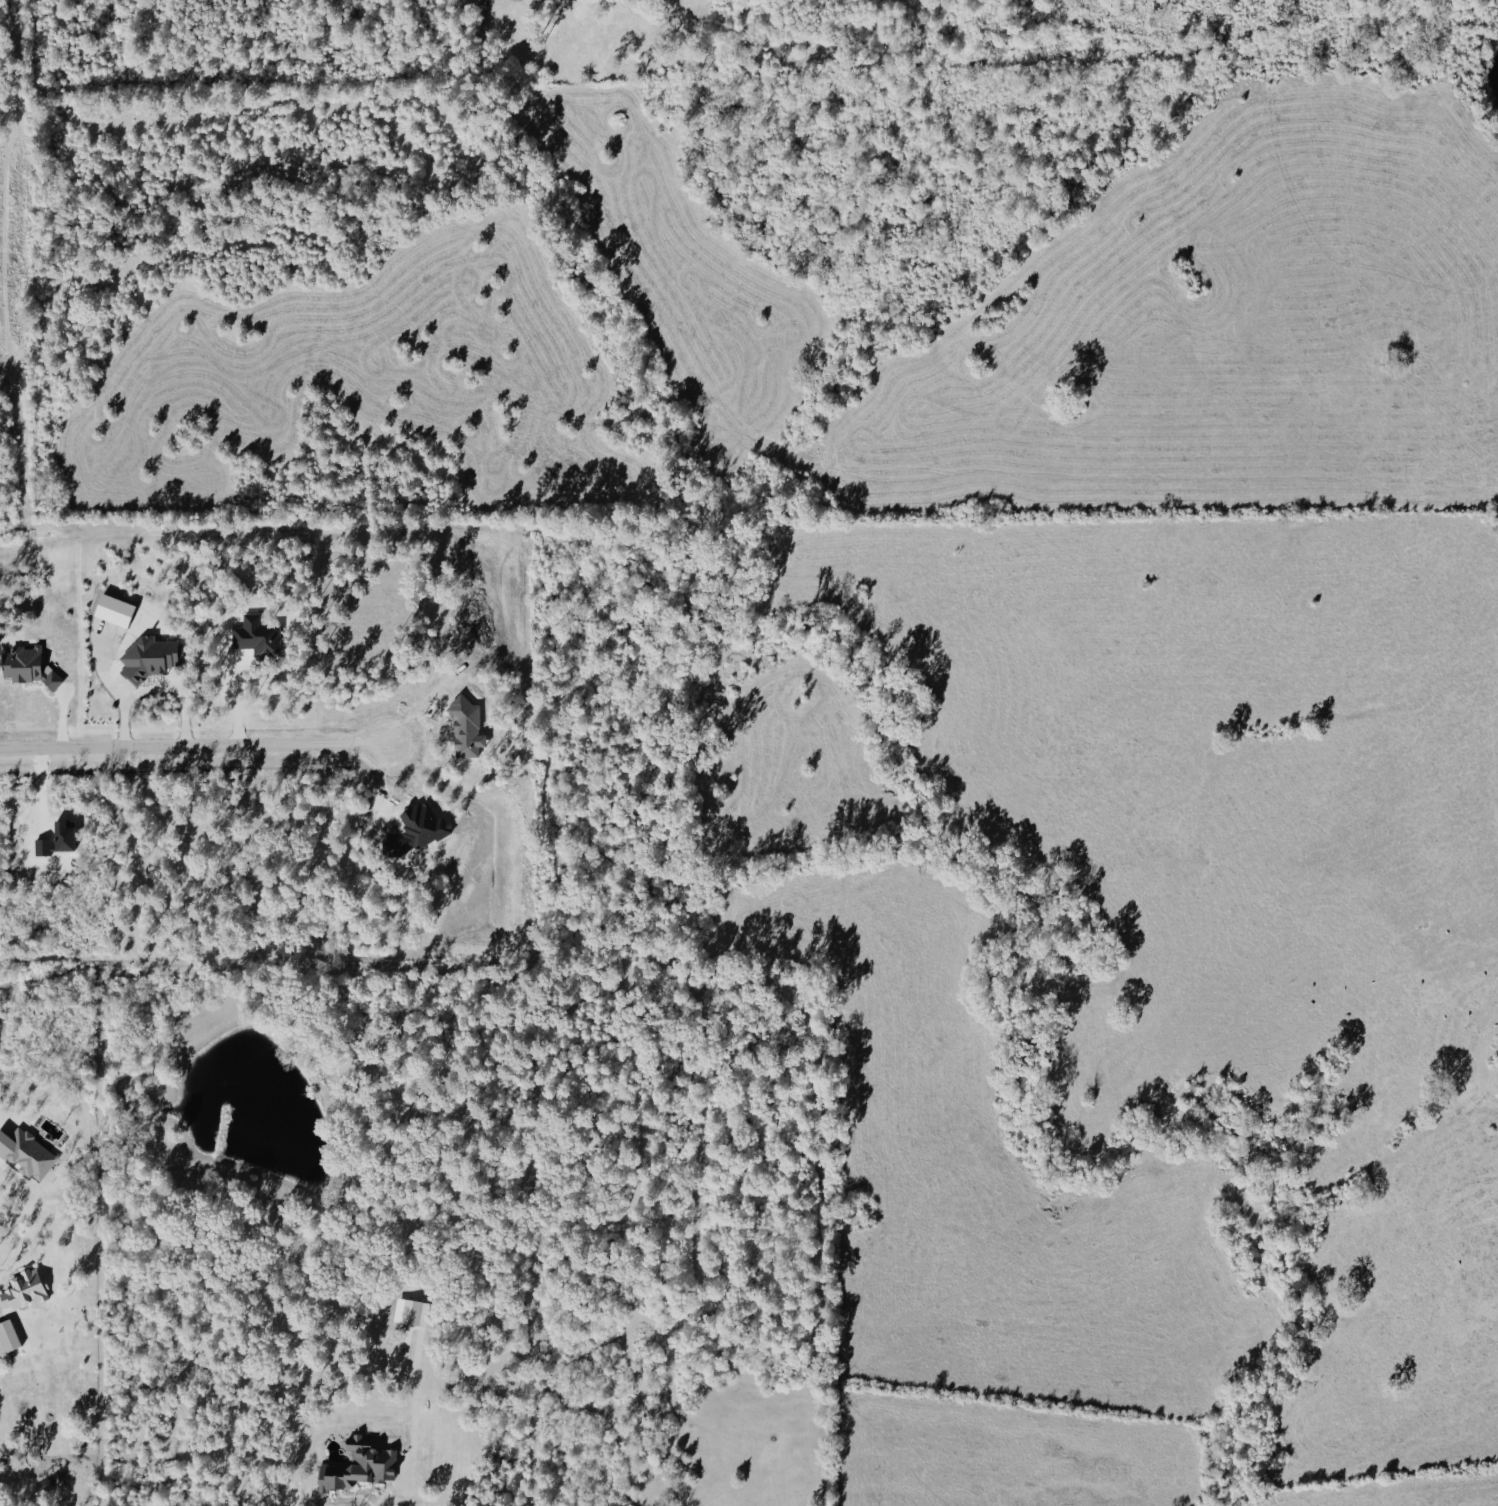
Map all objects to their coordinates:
building: (111, 610)
building: (256, 637)
building: (148, 658)
building: (26, 667)
road: (155, 686)
road: (237, 703)
road: (194, 752)
building: (25, 1154)
building: (22, 1289)
building: (413, 1312)
building: (6, 1336)
road: (414, 1418)
building: (355, 1465)

